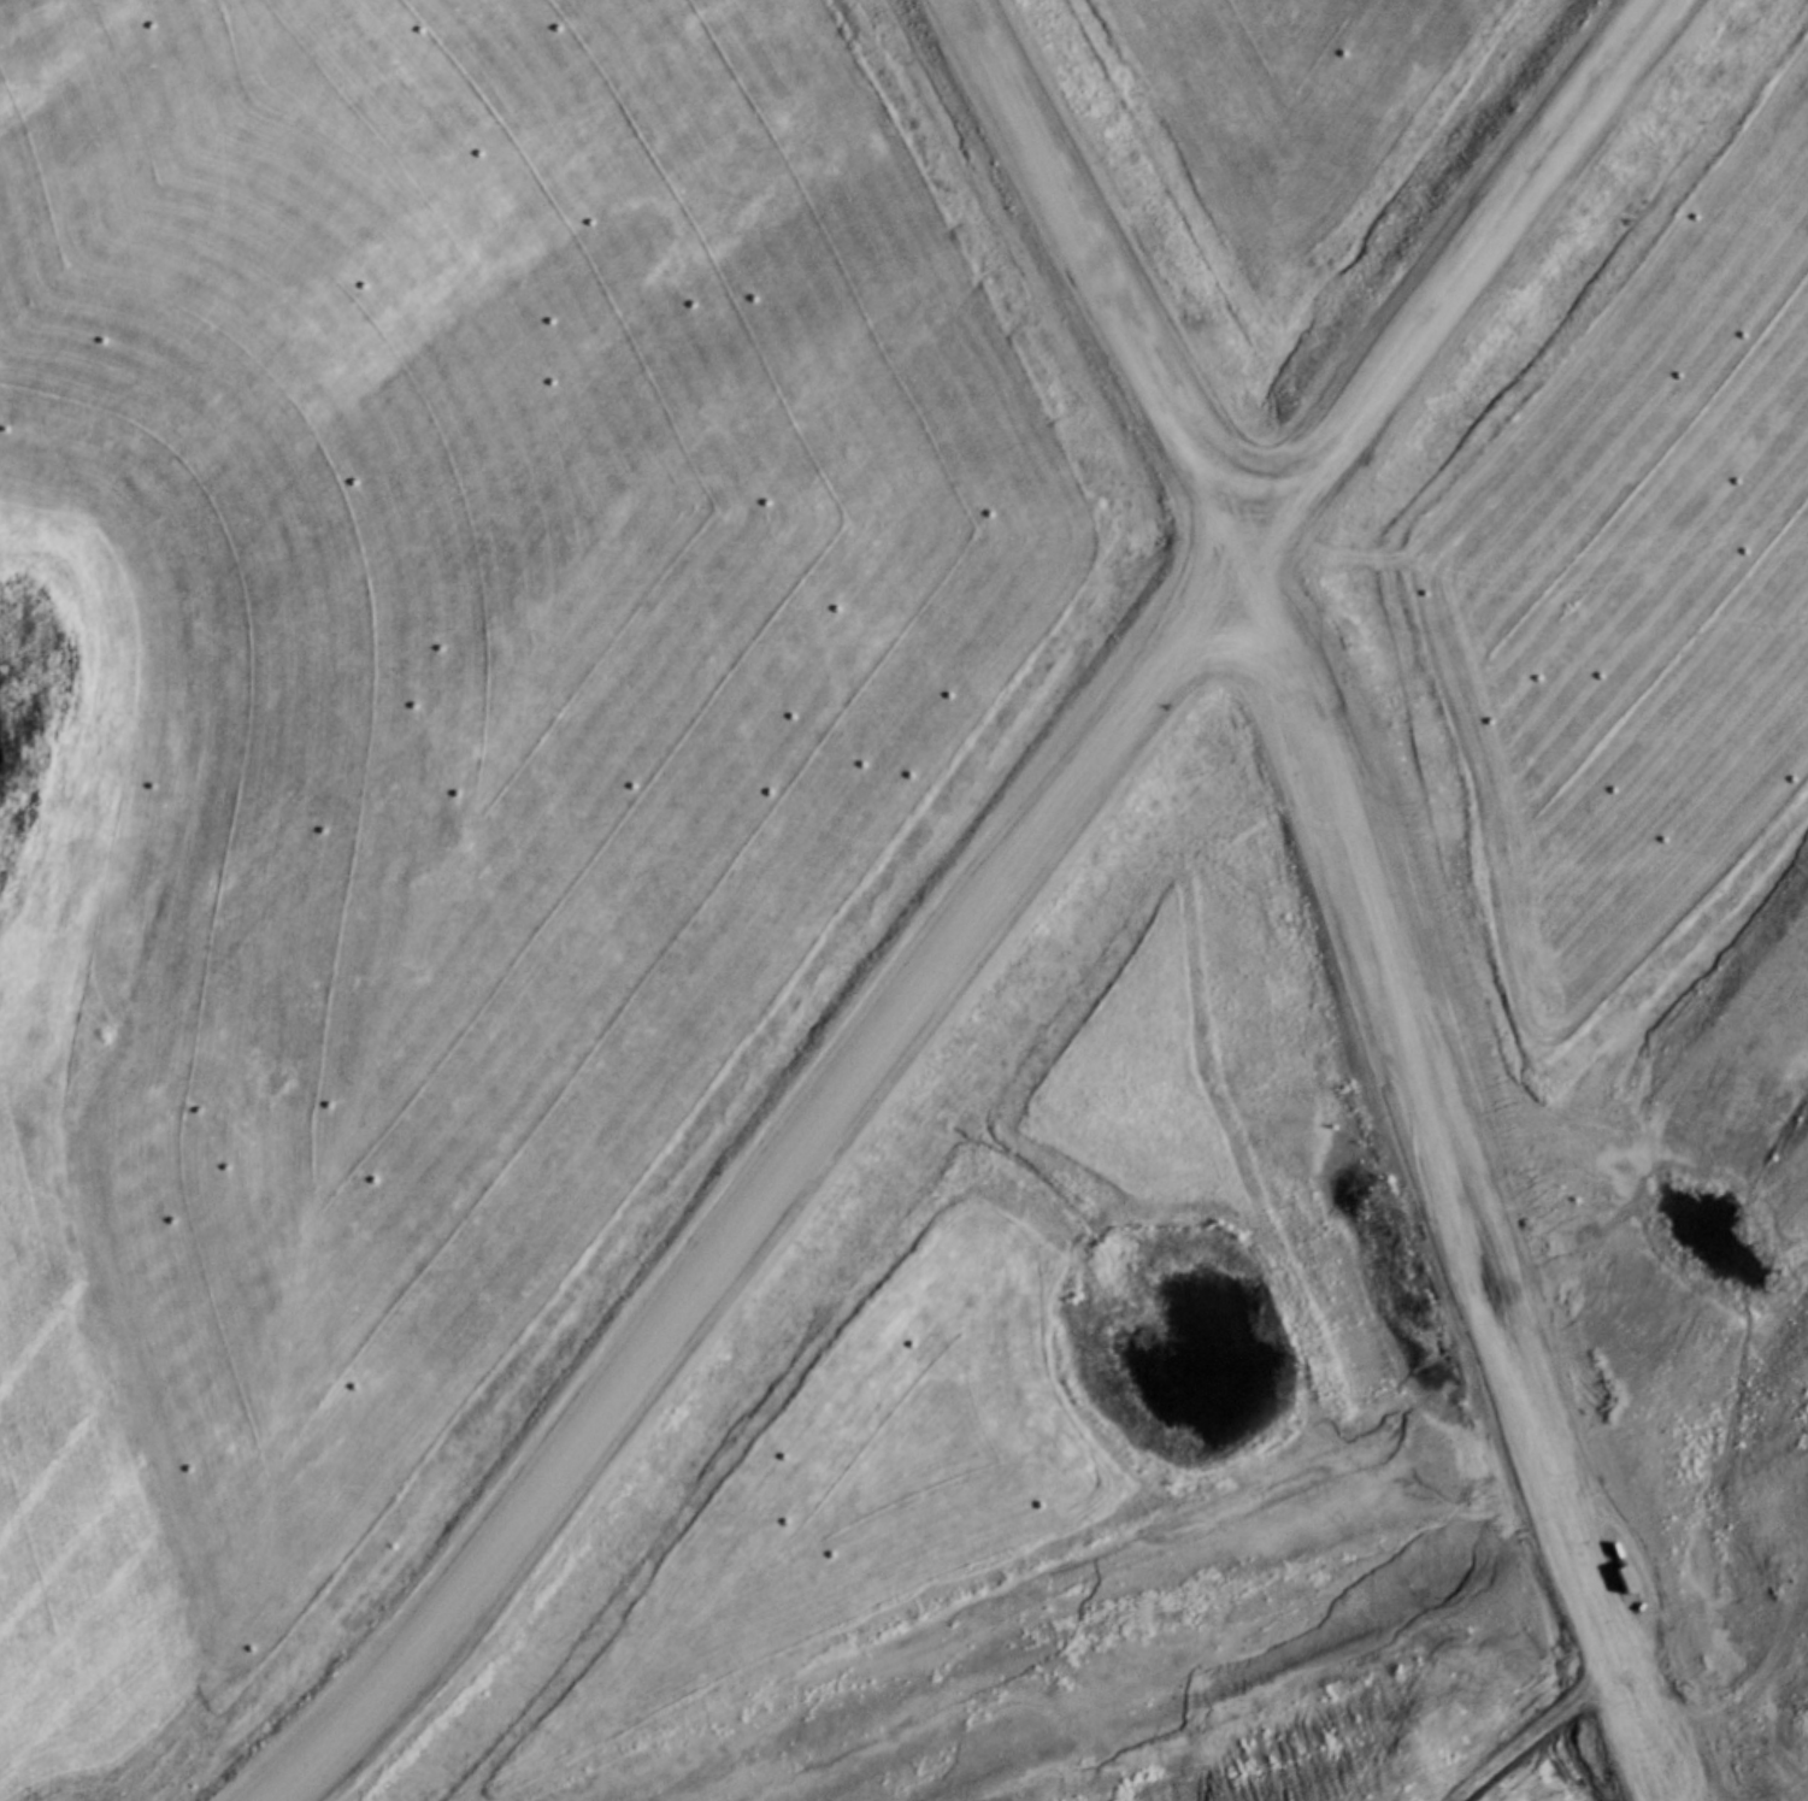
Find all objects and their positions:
quarry: (1086, 1012)

